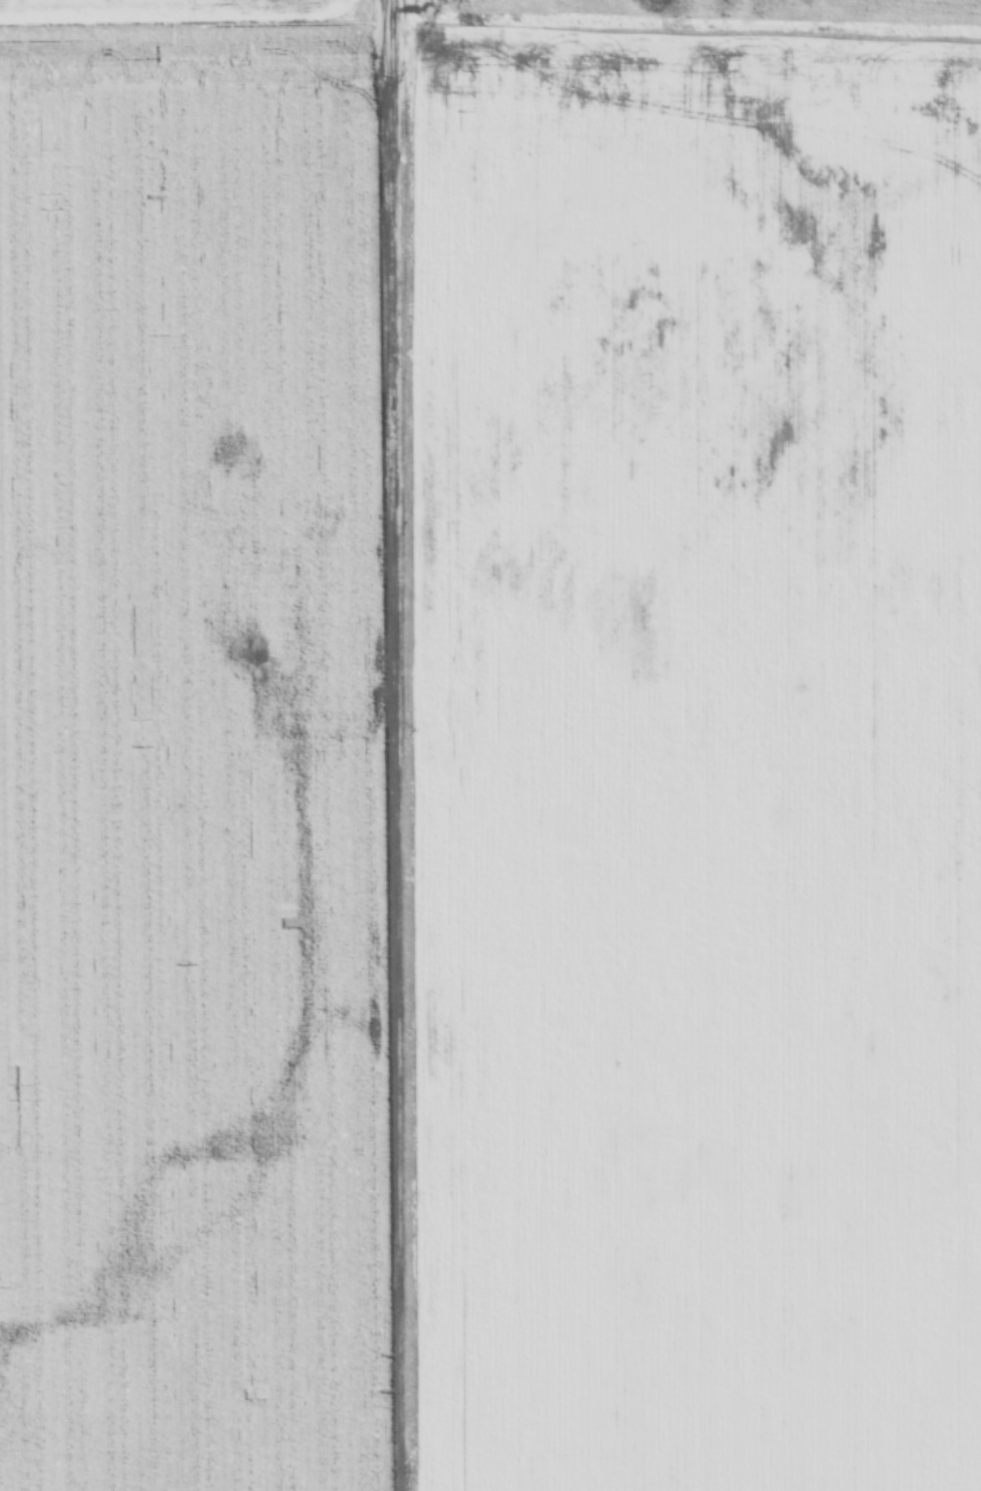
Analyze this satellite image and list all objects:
road: (391, 745)

